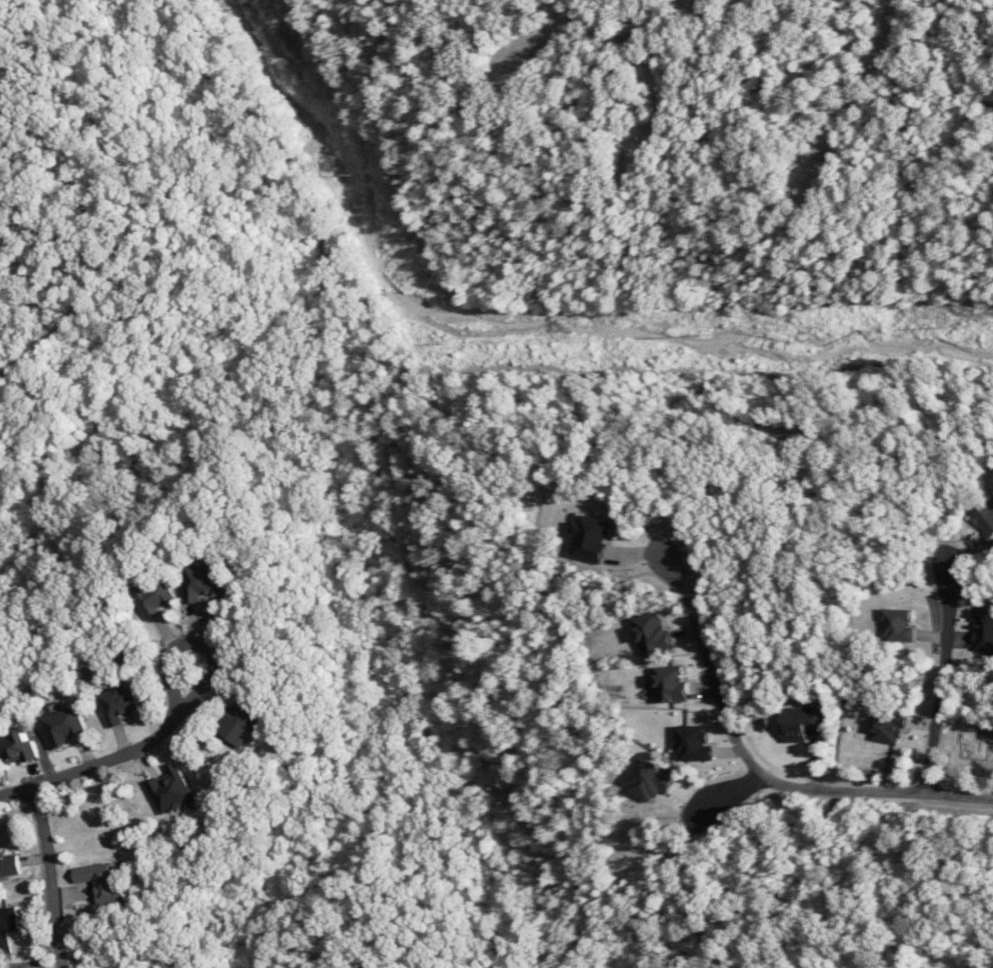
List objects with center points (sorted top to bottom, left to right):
road: (623, 38)
road: (534, 44)
road: (863, 91)
road: (659, 94)
road: (55, 141)
road: (3, 155)
road: (99, 263)
road: (598, 269)
road: (108, 296)
road: (361, 437)
building: (985, 521)
road: (316, 532)
building: (589, 538)
building: (203, 582)
building: (151, 599)
building: (896, 626)
building: (983, 632)
building: (651, 634)
building: (670, 685)
road: (946, 690)
building: (117, 705)
building: (804, 722)
building: (239, 725)
building: (63, 727)
building: (888, 727)
building: (692, 744)
building: (17, 750)
road: (120, 764)
road: (759, 775)
building: (649, 781)
building: (170, 790)
road: (734, 793)
building: (9, 866)
road: (55, 878)
building: (102, 881)
building: (8, 926)

